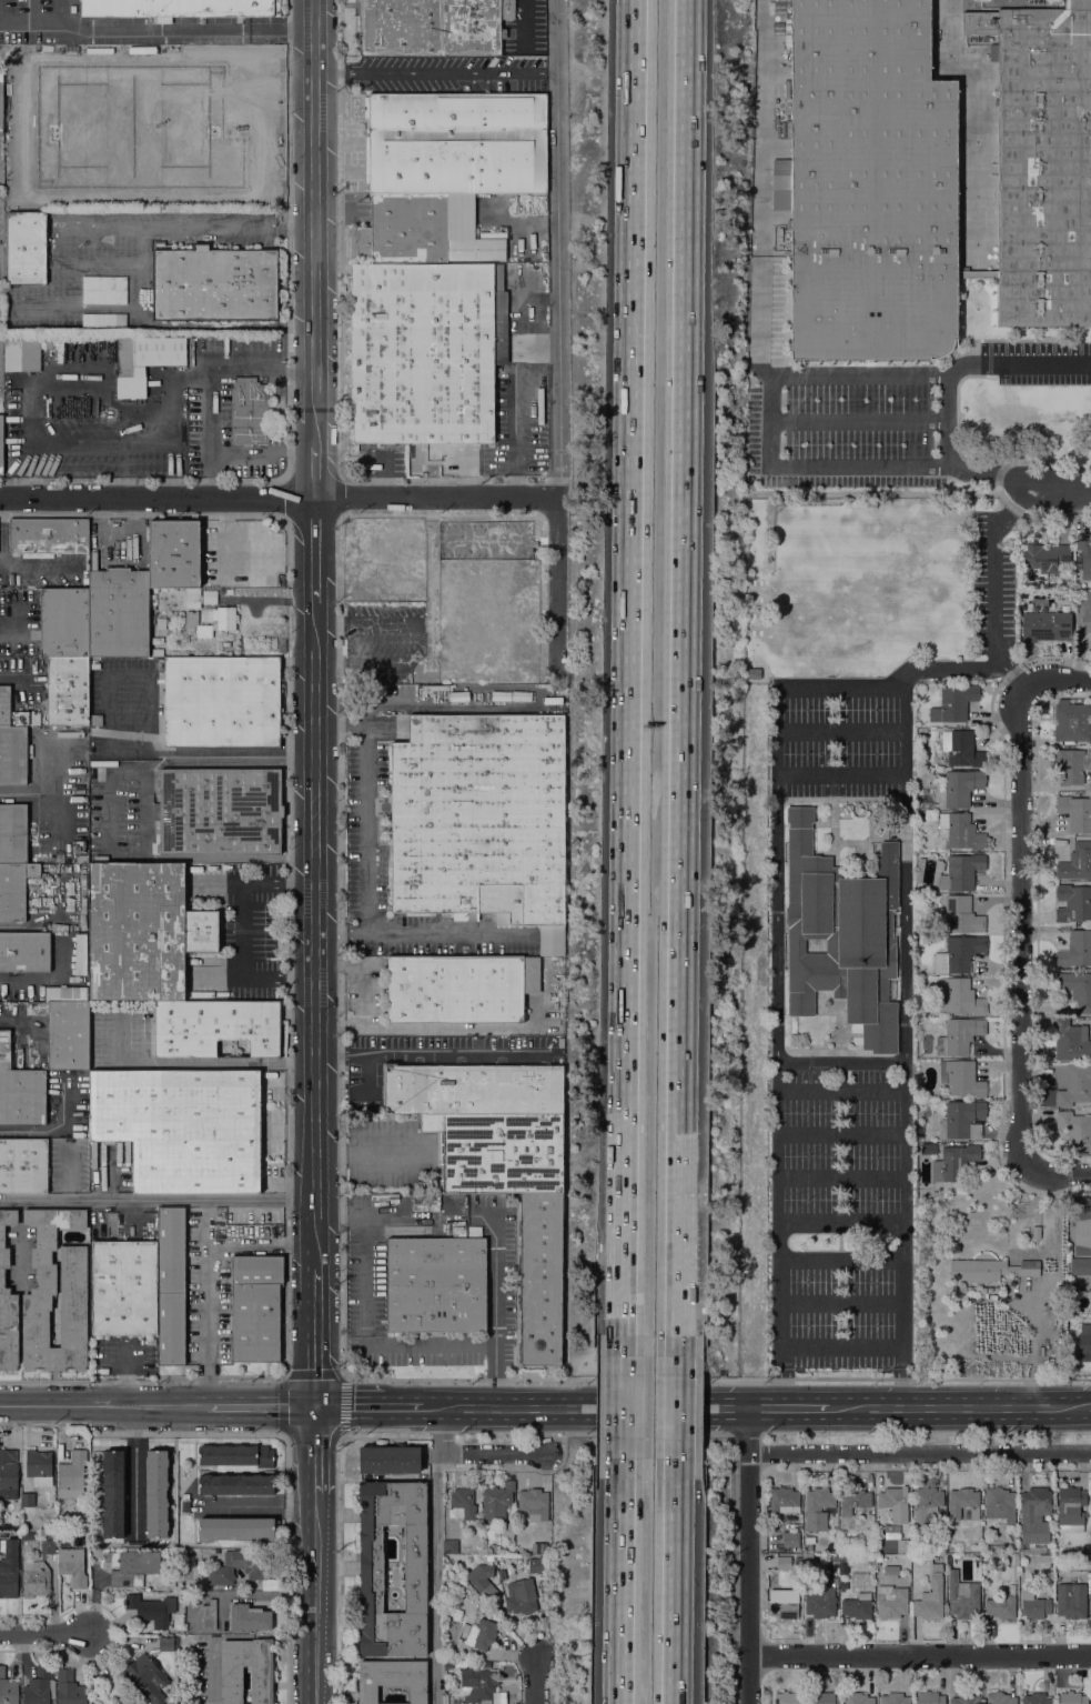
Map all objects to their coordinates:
building: (980, 0)
building: (1051, 0)
building: (180, 8)
road: (34, 11)
road: (60, 16)
road: (524, 17)
building: (432, 27)
road: (156, 31)
road: (437, 76)
building: (1, 103)
road: (762, 113)
road: (23, 126)
building: (165, 126)
building: (455, 143)
building: (929, 178)
building: (175, 200)
road: (315, 223)
building: (416, 232)
building: (26, 248)
road: (562, 249)
road: (59, 275)
building: (214, 283)
road: (32, 302)
road: (764, 322)
building: (159, 351)
building: (424, 351)
building: (21, 352)
building: (129, 370)
road: (220, 371)
road: (767, 392)
building: (249, 411)
road: (948, 419)
road: (141, 438)
building: (1, 442)
road: (244, 454)
road: (315, 473)
road: (1063, 498)
road: (282, 500)
building: (411, 529)
building: (48, 538)
building: (374, 539)
road: (315, 551)
building: (1084, 553)
building: (173, 554)
building: (422, 554)
building: (397, 555)
building: (408, 555)
building: (1042, 559)
building: (411, 569)
building: (374, 579)
building: (496, 579)
building: (452, 580)
road: (560, 588)
road: (997, 590)
building: (229, 591)
building: (210, 597)
building: (152, 602)
building: (119, 612)
building: (223, 613)
building: (180, 614)
building: (458, 615)
building: (1083, 617)
building: (497, 620)
building: (64, 623)
building: (161, 623)
building: (1045, 627)
road: (12, 635)
building: (156, 640)
building: (158, 652)
building: (458, 652)
building: (497, 661)
building: (752, 673)
road: (628, 678)
road: (679, 678)
road: (315, 682)
road: (1058, 682)
road: (868, 685)
building: (68, 691)
building: (553, 700)
building: (222, 702)
building: (953, 703)
building: (4, 705)
building: (95, 719)
building: (1072, 722)
building: (961, 749)
road: (113, 751)
building: (13, 753)
road: (160, 761)
building: (1072, 765)
building: (959, 788)
road: (366, 801)
road: (108, 811)
building: (219, 811)
building: (1077, 812)
building: (479, 816)
building: (960, 831)
building: (12, 832)
building: (78, 845)
building: (82, 858)
road: (179, 858)
building: (1075, 862)
building: (919, 869)
building: (958, 872)
road: (906, 880)
building: (14, 889)
building: (1073, 903)
building: (961, 915)
road: (241, 929)
road: (1023, 929)
building: (143, 931)
road: (777, 931)
road: (424, 932)
building: (841, 934)
building: (925, 940)
building: (1075, 950)
building: (24, 953)
building: (81, 954)
building: (958, 954)
building: (459, 988)
building: (1077, 989)
building: (65, 994)
building: (959, 996)
road: (314, 1015)
road: (17, 1019)
building: (215, 1028)
building: (68, 1034)
building: (959, 1035)
building: (1071, 1041)
road: (431, 1051)
building: (7, 1052)
road: (192, 1062)
building: (961, 1079)
building: (1075, 1085)
building: (473, 1090)
road: (841, 1090)
building: (22, 1097)
building: (962, 1120)
building: (182, 1127)
building: (1075, 1130)
road: (366, 1152)
building: (499, 1152)
building: (954, 1163)
building: (23, 1165)
road: (1057, 1175)
road: (156, 1202)
building: (425, 1204)
building: (465, 1231)
building: (1036, 1232)
building: (1089, 1233)
road: (363, 1251)
building: (1084, 1266)
building: (989, 1270)
road: (206, 1272)
building: (541, 1279)
road: (1089, 1281)
building: (437, 1283)
building: (171, 1286)
building: (124, 1287)
building: (55, 1294)
building: (8, 1302)
building: (255, 1307)
road: (496, 1312)
building: (1084, 1336)
road: (314, 1337)
road: (1031, 1344)
road: (423, 1345)
building: (1082, 1355)
road: (343, 1375)
road: (103, 1406)
road: (260, 1406)
road: (351, 1406)
road: (414, 1406)
road: (623, 1406)
road: (676, 1406)
road: (788, 1407)
road: (960, 1407)
road: (593, 1409)
road: (314, 1449)
road: (919, 1451)
road: (469, 1452)
building: (236, 1454)
building: (390, 1460)
building: (39, 1466)
road: (135, 1471)
building: (72, 1473)
building: (8, 1474)
building: (238, 1482)
building: (113, 1493)
building: (158, 1493)
building: (28, 1500)
building: (533, 1500)
building: (784, 1500)
building: (853, 1500)
building: (496, 1502)
building: (893, 1502)
building: (185, 1503)
building: (463, 1503)
building: (963, 1503)
building: (1000, 1504)
building: (927, 1505)
building: (1071, 1505)
building: (818, 1507)
building: (1034, 1514)
building: (238, 1528)
building: (507, 1531)
building: (892, 1531)
building: (790, 1538)
building: (809, 1542)
building: (48, 1543)
building: (902, 1545)
building: (449, 1546)
building: (228, 1547)
building: (494, 1547)
building: (1048, 1550)
building: (940, 1551)
road: (747, 1555)
building: (808, 1556)
building: (879, 1557)
building: (928, 1557)
building: (1045, 1557)
building: (952, 1558)
building: (71, 1563)
building: (784, 1563)
building: (535, 1564)
building: (843, 1564)
building: (240, 1565)
building: (131, 1566)
building: (9, 1567)
building: (371, 1567)
building: (891, 1570)
road: (434, 1576)
building: (36, 1578)
building: (483, 1581)
road: (622, 1581)
road: (674, 1581)
building: (522, 1596)
building: (931, 1596)
building: (962, 1596)
road: (315, 1597)
building: (892, 1601)
building: (1071, 1601)
building: (784, 1603)
building: (822, 1605)
building: (1033, 1605)
building: (858, 1606)
building: (1002, 1607)
building: (153, 1608)
building: (1090, 1608)
building: (209, 1615)
building: (249, 1617)
road: (46, 1632)
building: (477, 1637)
building: (166, 1644)
road: (919, 1654)
building: (147, 1676)
building: (392, 1678)
road: (533, 1680)
building: (262, 1685)
building: (40, 1687)
building: (481, 1687)
building: (8, 1688)
building: (70, 1688)
building: (119, 1692)
building: (929, 1697)
building: (1072, 1697)
building: (787, 1698)
building: (824, 1698)
building: (857, 1698)
building: (893, 1698)
building: (966, 1698)
building: (1000, 1698)
building: (1037, 1698)

